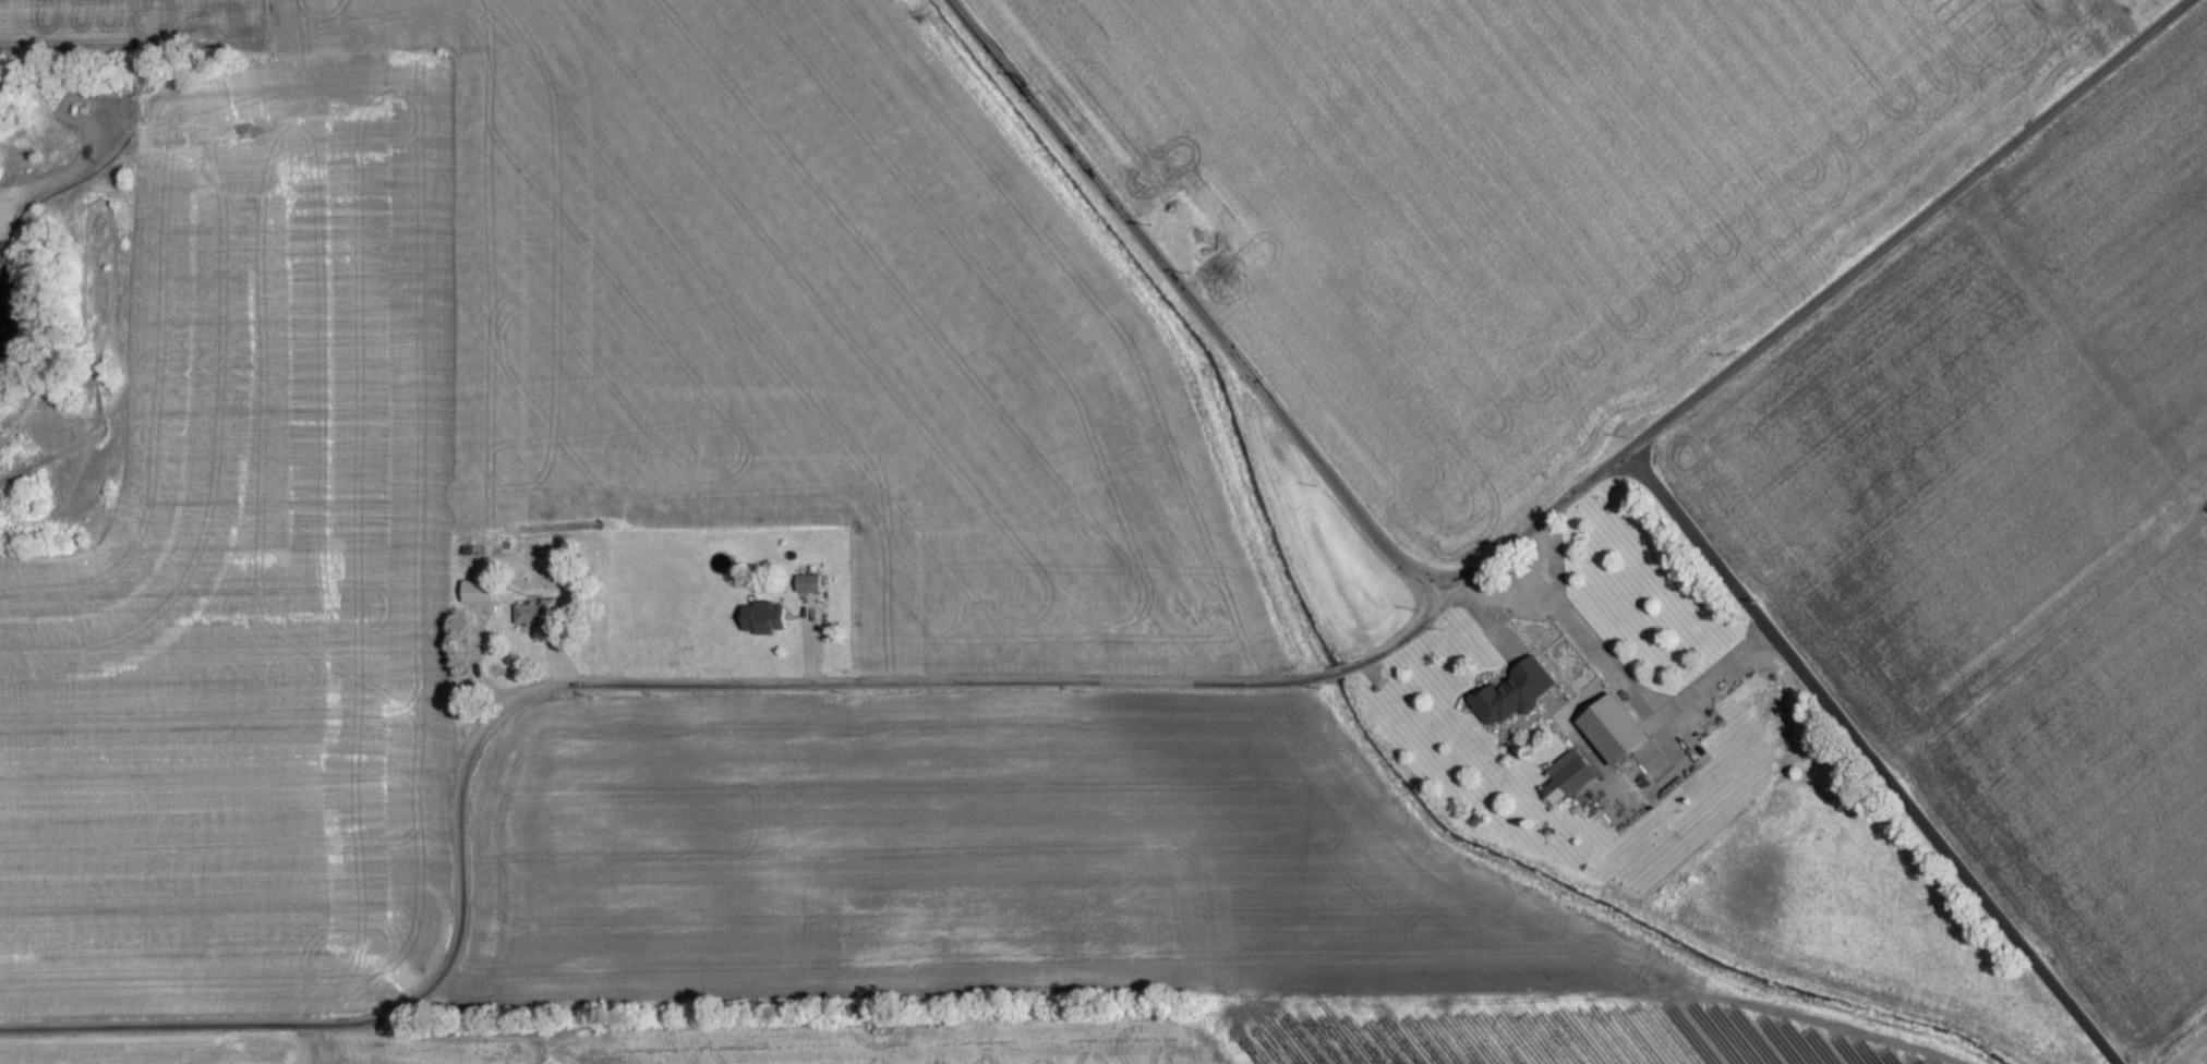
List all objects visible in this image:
road: (1187, 305)
building: (809, 592)
building: (479, 597)
building: (535, 621)
building: (764, 626)
road: (1102, 688)
building: (1515, 718)
road: (1903, 770)
building: (1569, 785)

